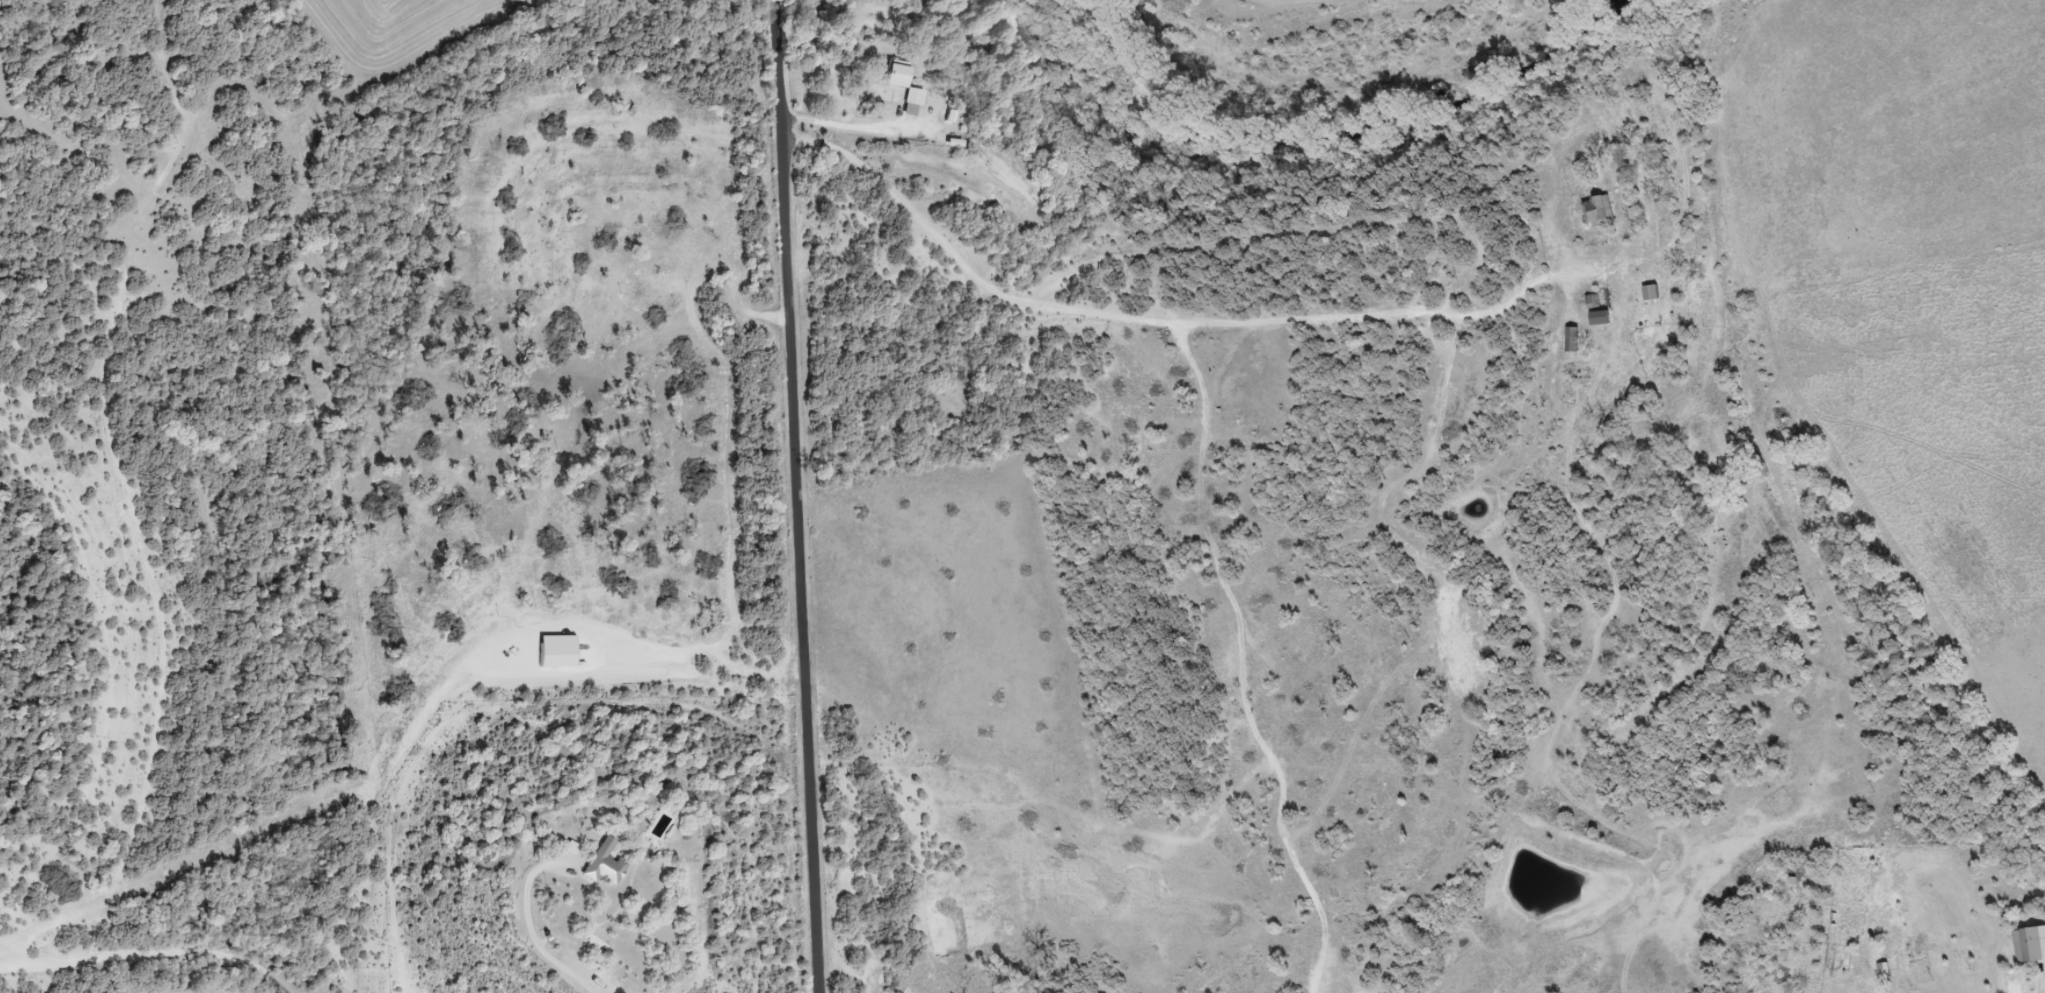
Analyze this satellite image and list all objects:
road: (848, 124)
building: (1598, 211)
building: (1651, 294)
building: (1600, 319)
road: (1158, 321)
building: (1572, 341)
building: (1570, 396)
road: (135, 446)
road: (796, 496)
building: (605, 866)
road: (528, 927)
building: (600, 940)
building: (2033, 944)
road: (207, 951)
road: (57, 963)

